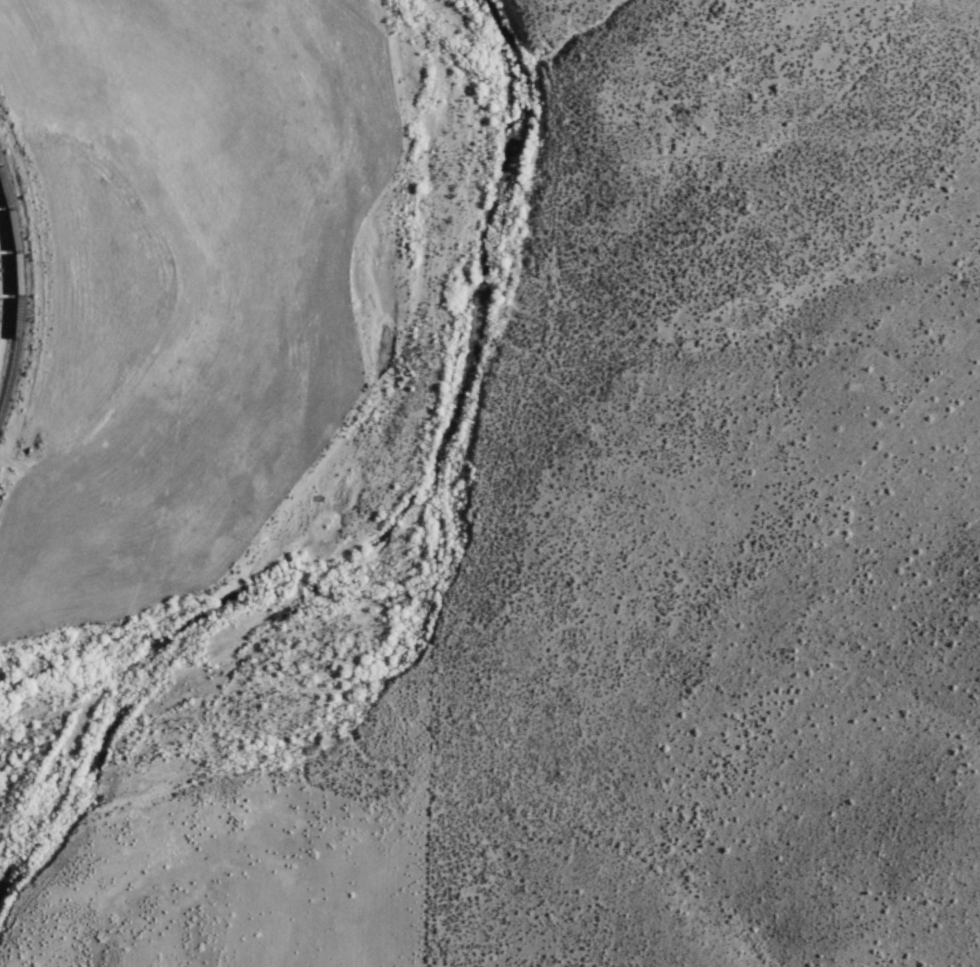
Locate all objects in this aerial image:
railway: (16, 291)
crop: (157, 323)

